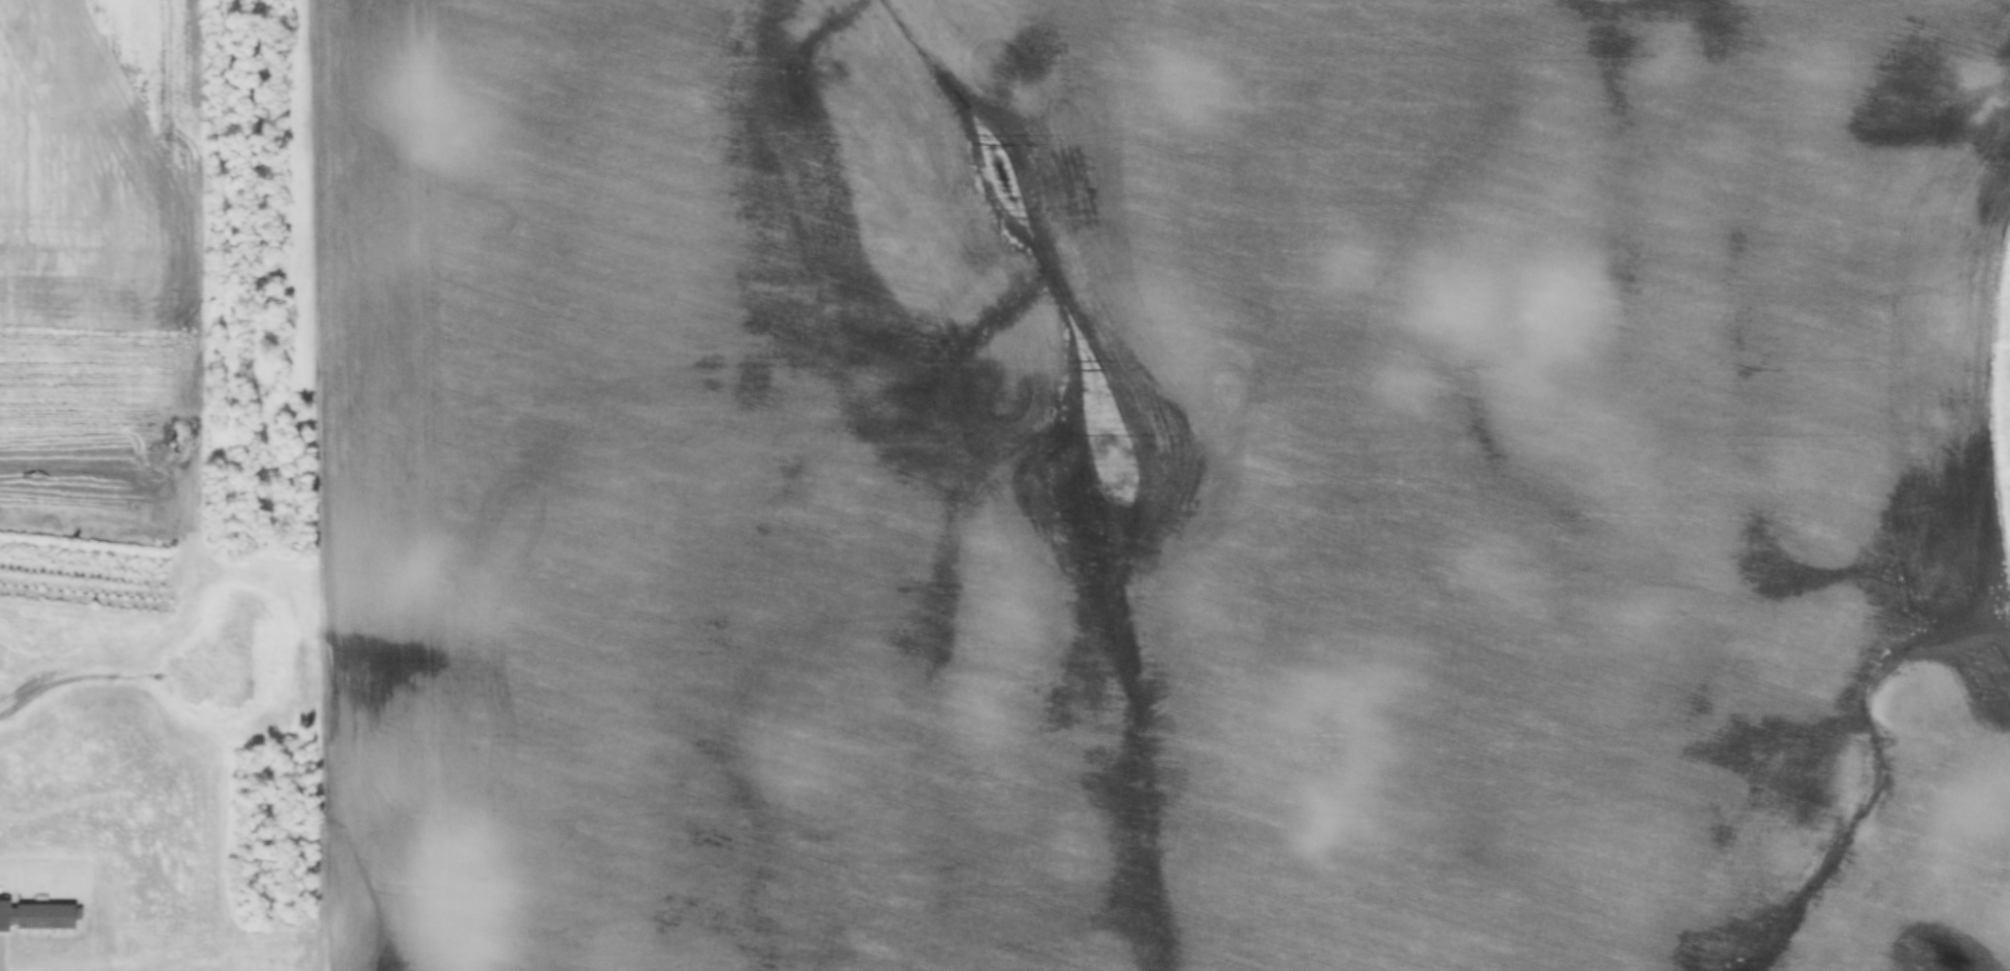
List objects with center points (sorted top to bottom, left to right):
road: (322, 485)

